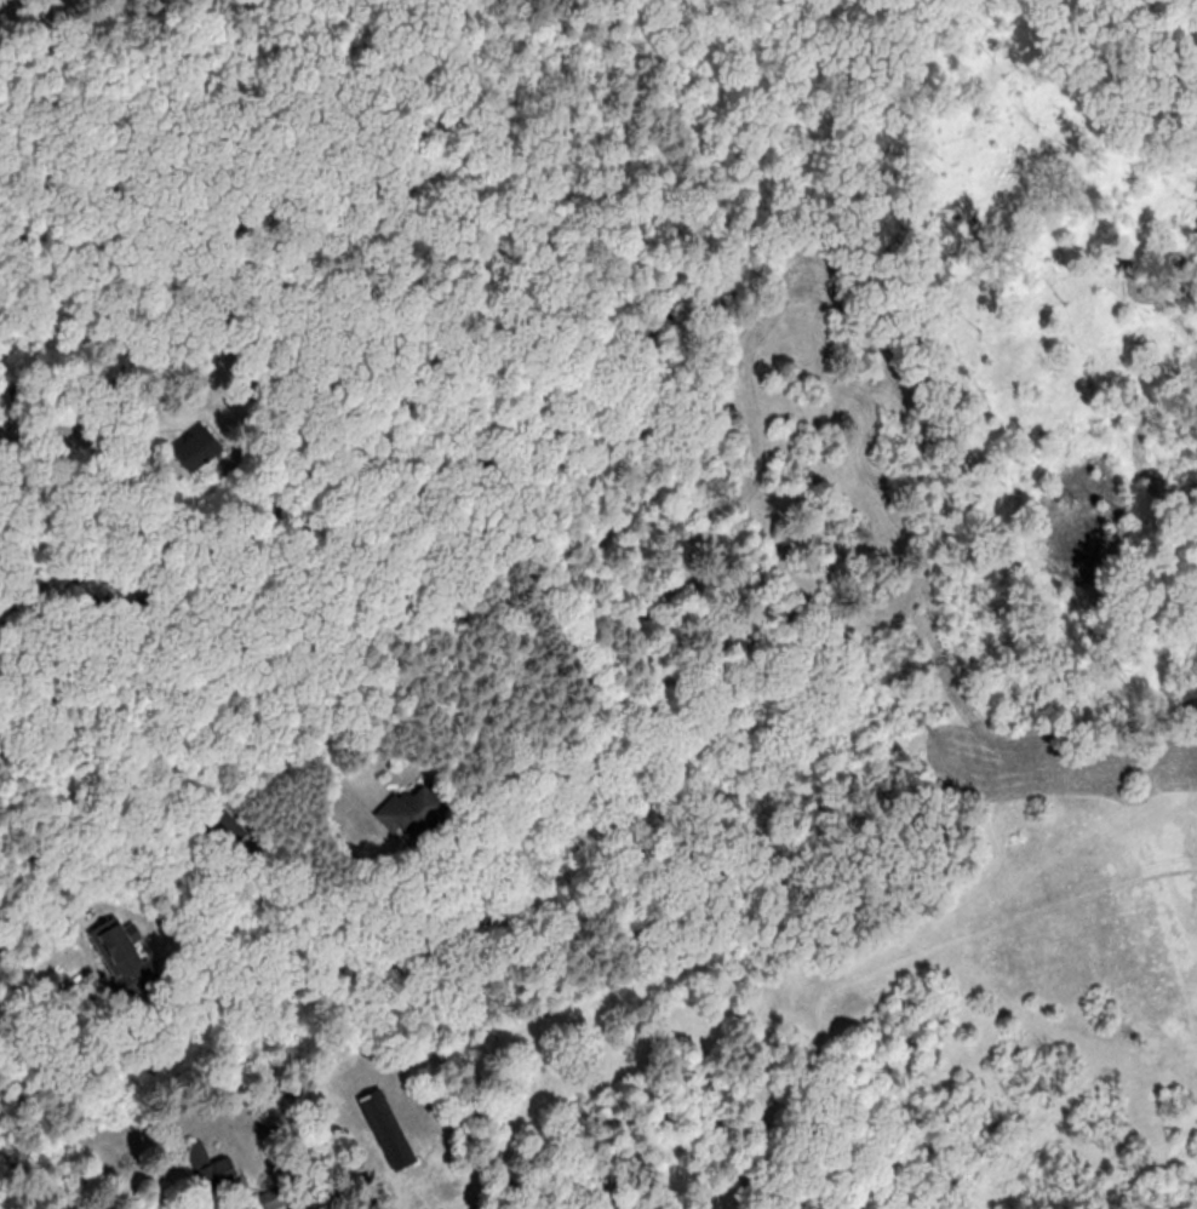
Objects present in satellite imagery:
building: (7, 403)
building: (207, 448)
road: (141, 678)
building: (420, 810)
road: (88, 953)
building: (130, 958)
road: (7, 986)
building: (395, 1133)
building: (216, 1171)

